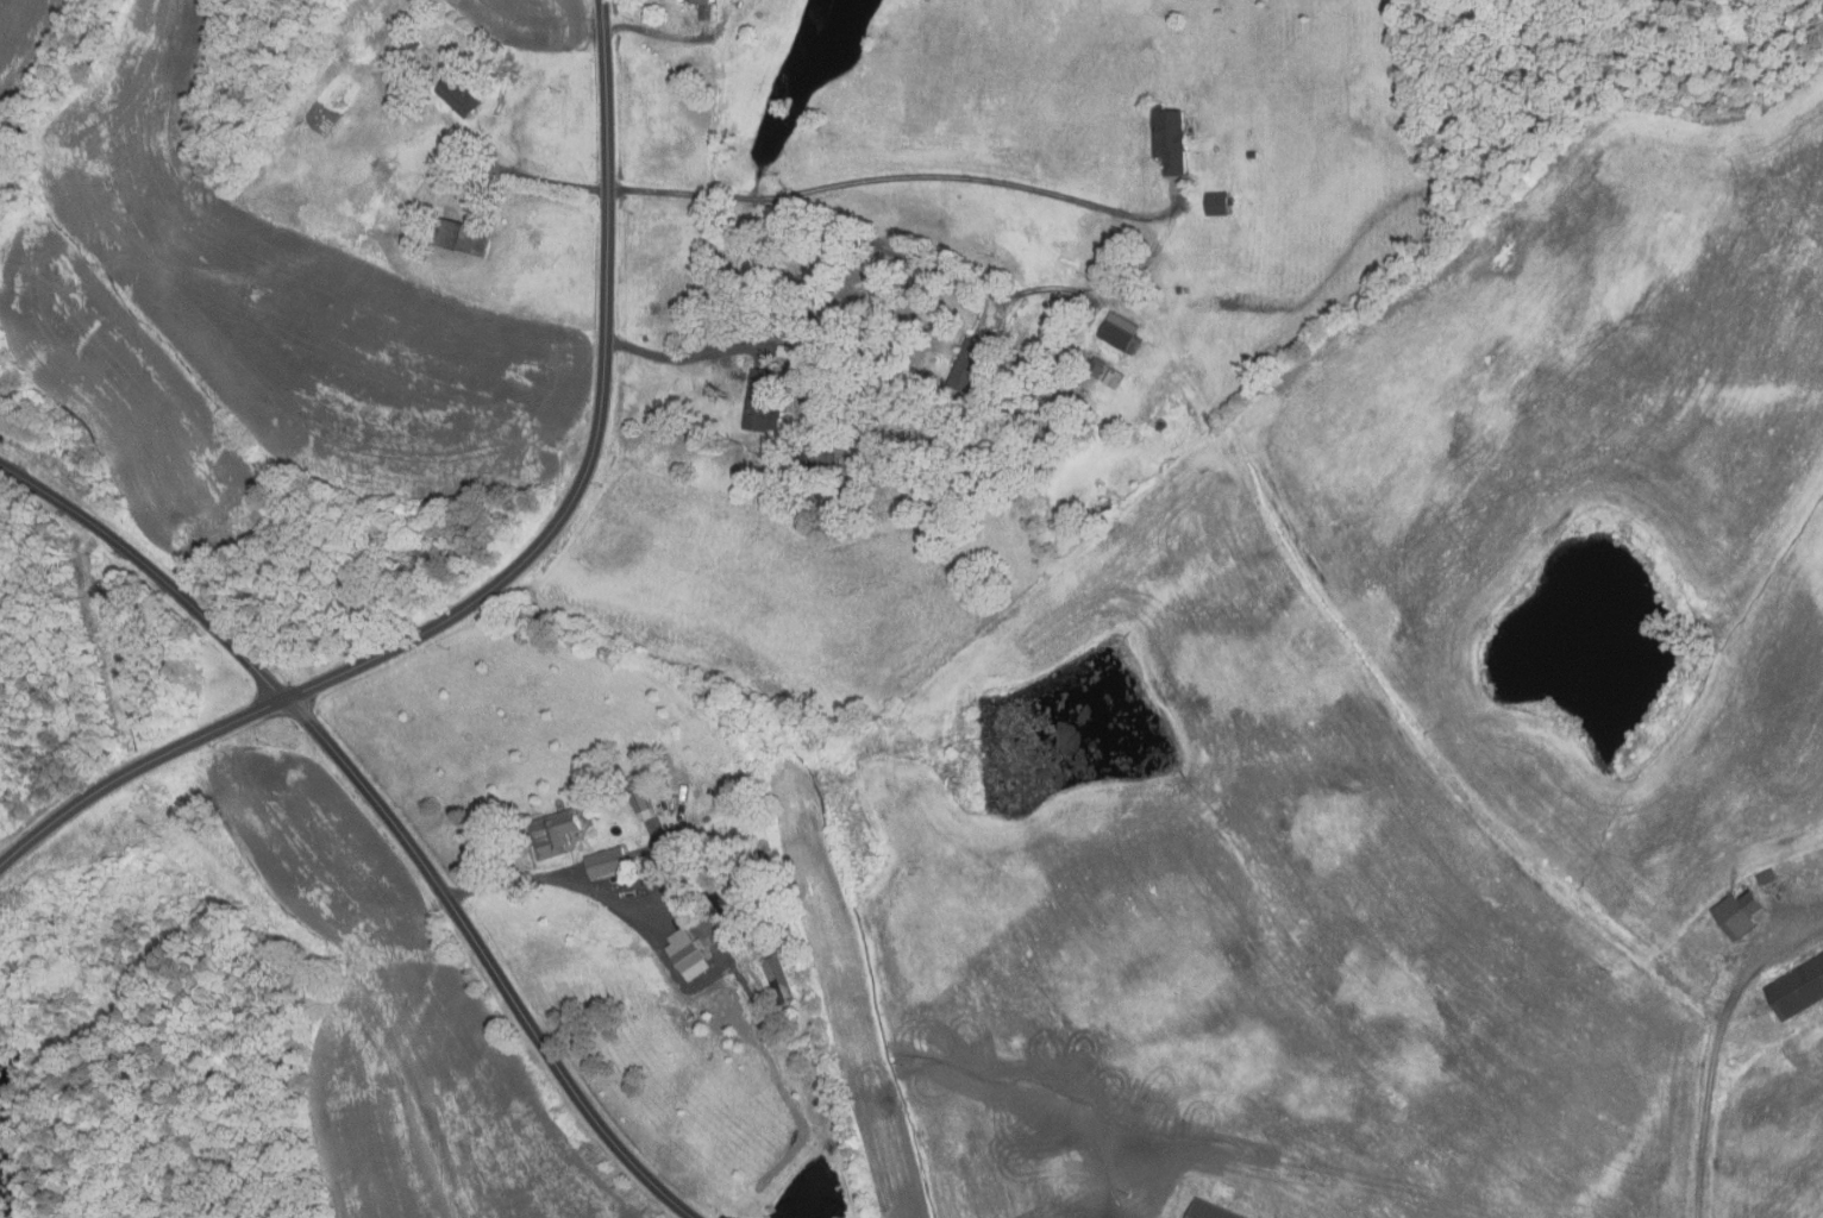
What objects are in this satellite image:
building: (703, 7)
crop: (528, 24)
road: (658, 31)
crop: (29, 45)
building: (409, 45)
building: (458, 70)
building: (463, 98)
building: (1460, 109)
building: (1170, 139)
building: (1252, 155)
road: (540, 178)
road: (971, 180)
road: (681, 193)
building: (1217, 205)
building: (468, 238)
road: (920, 262)
building: (1179, 290)
crop: (250, 331)
building: (1121, 334)
building: (785, 352)
road: (684, 359)
building: (967, 366)
building: (1095, 366)
building: (1113, 378)
building: (1077, 388)
building: (759, 403)
building: (814, 460)
building: (845, 469)
road: (514, 571)
building: (624, 798)
building: (638, 798)
road: (382, 809)
building: (552, 831)
building: (604, 861)
building: (652, 866)
building: (1766, 875)
road: (589, 891)
building: (1739, 912)
building: (682, 949)
building: (777, 979)
building: (1797, 990)
crop: (396, 1023)
road: (1715, 1046)
building: (1209, 1211)

